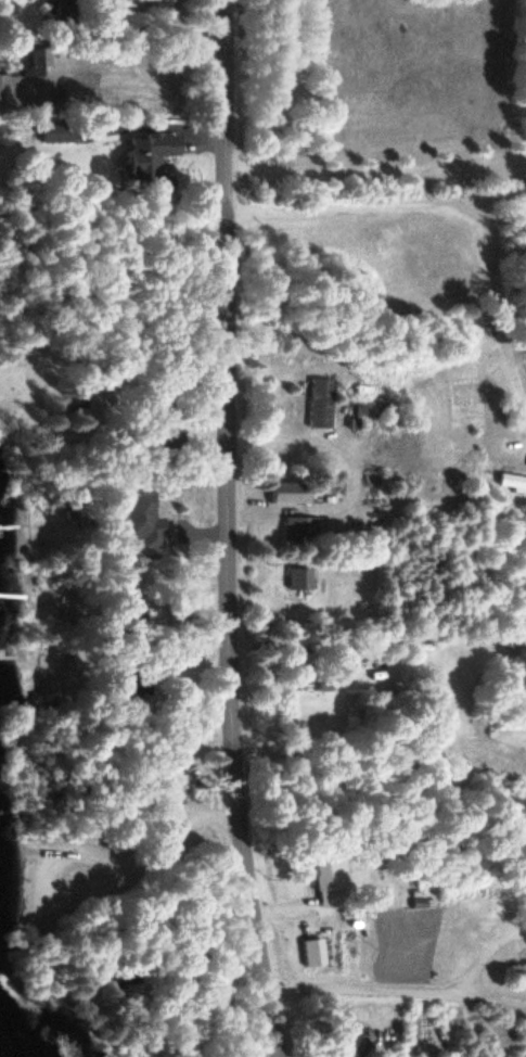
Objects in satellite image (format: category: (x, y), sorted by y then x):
building: (149, 0)
road: (145, 1)
building: (65, 5)
building: (1, 91)
building: (51, 132)
building: (142, 154)
road: (379, 200)
road: (424, 254)
building: (316, 404)
building: (164, 441)
road: (152, 442)
building: (282, 494)
building: (131, 522)
road: (229, 530)
building: (295, 531)
building: (295, 580)
building: (335, 648)
parking lot: (161, 818)
road: (36, 850)
road: (98, 861)
parking lot: (57, 878)
building: (325, 880)
road: (202, 888)
building: (348, 1042)

